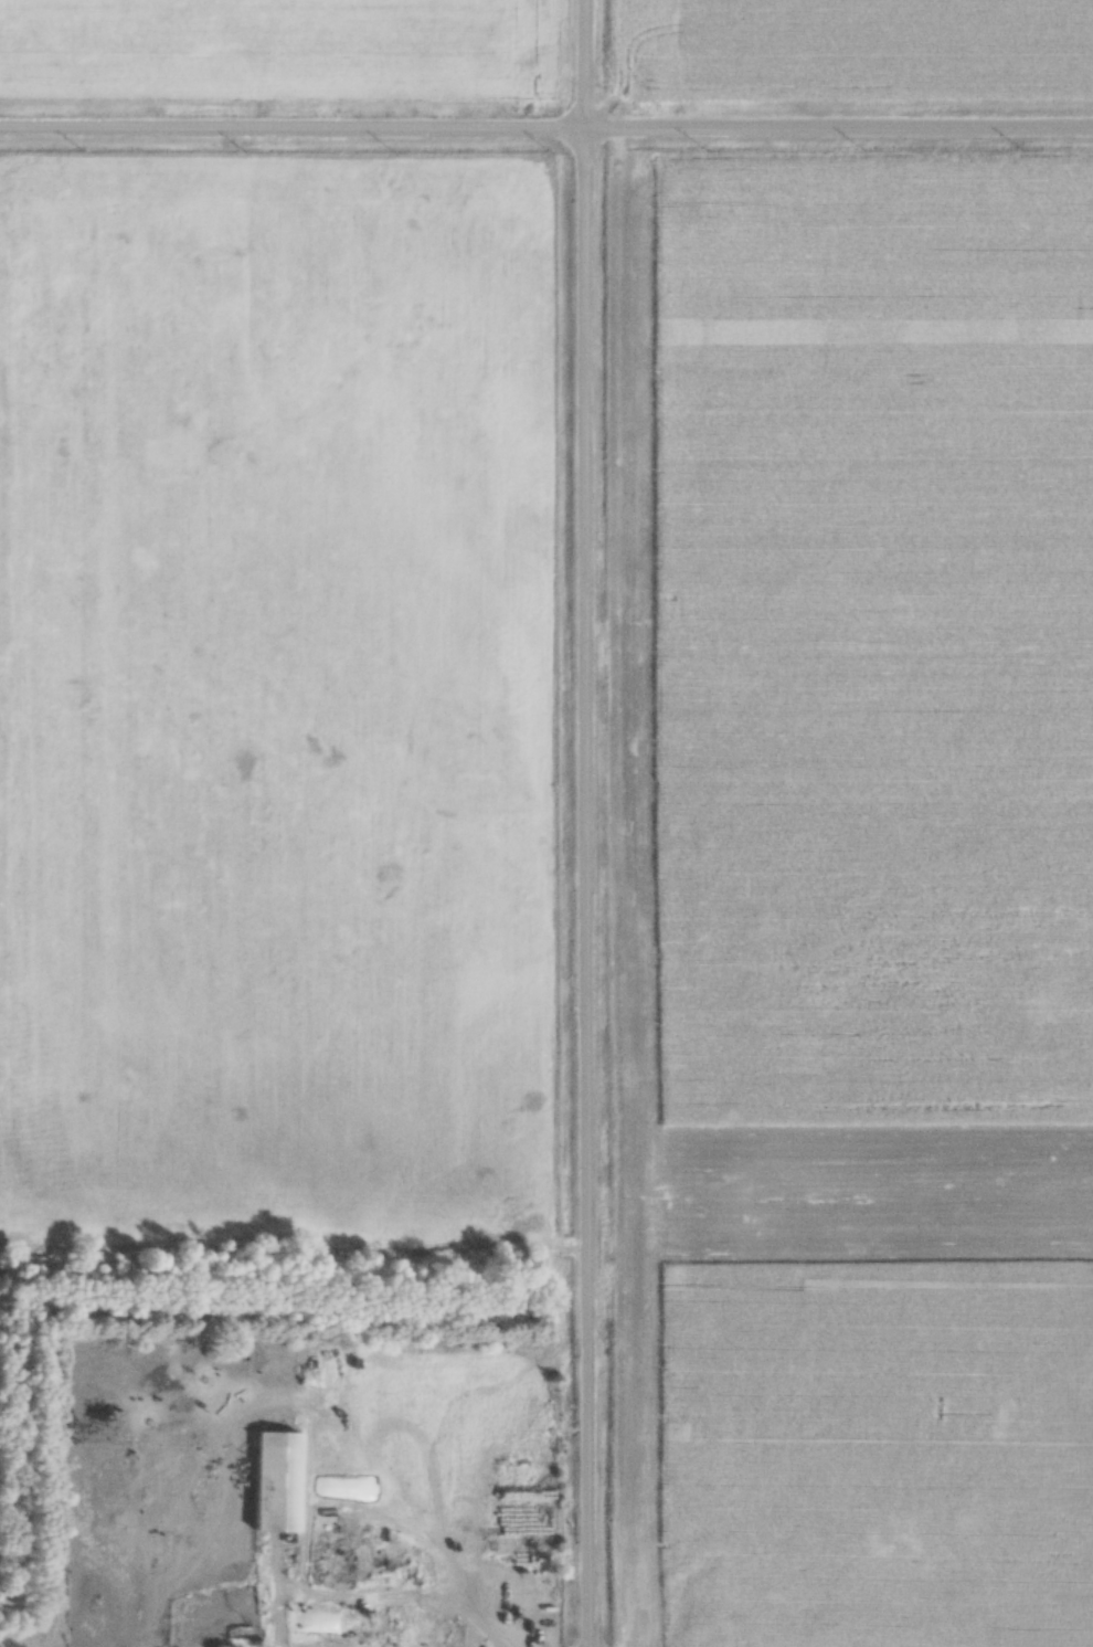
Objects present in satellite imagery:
road: (545, 133)
road: (570, 823)
building: (273, 1481)
road: (675, 1613)

